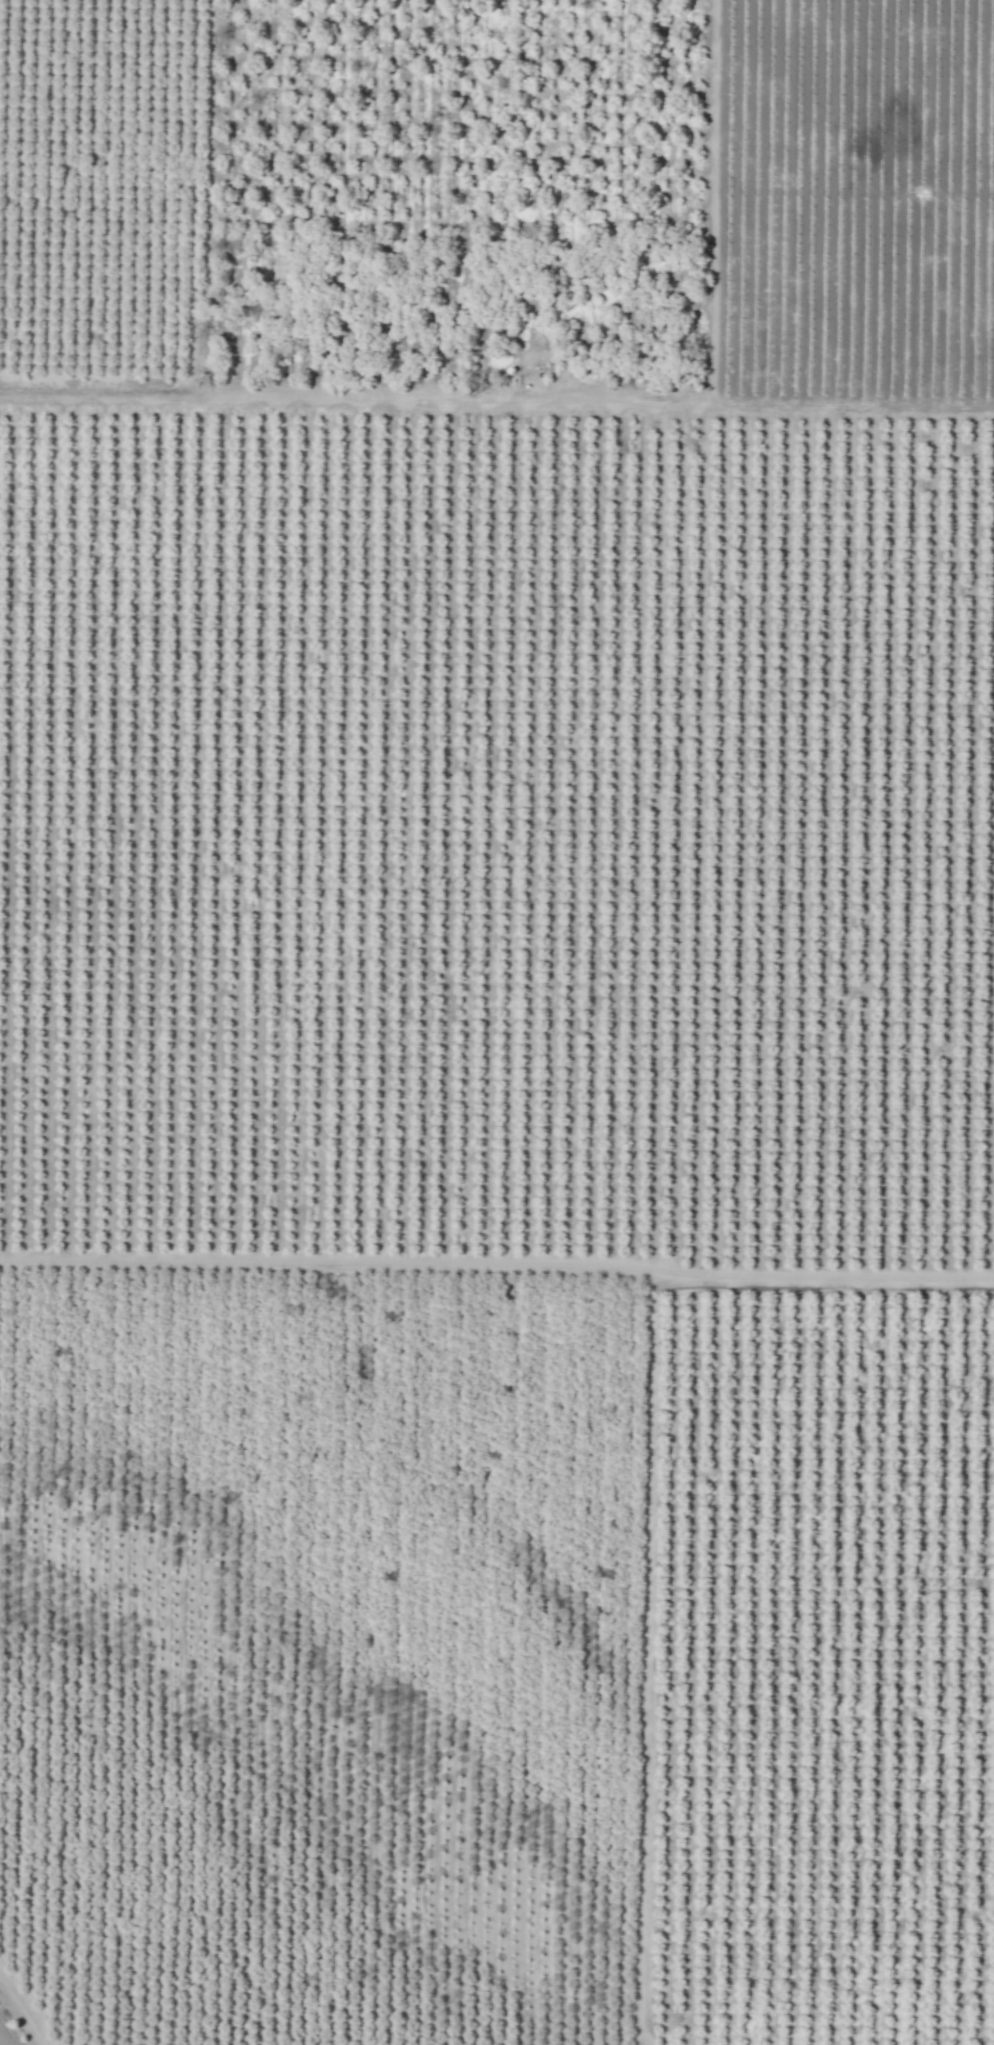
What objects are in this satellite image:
road: (6, 2037)

